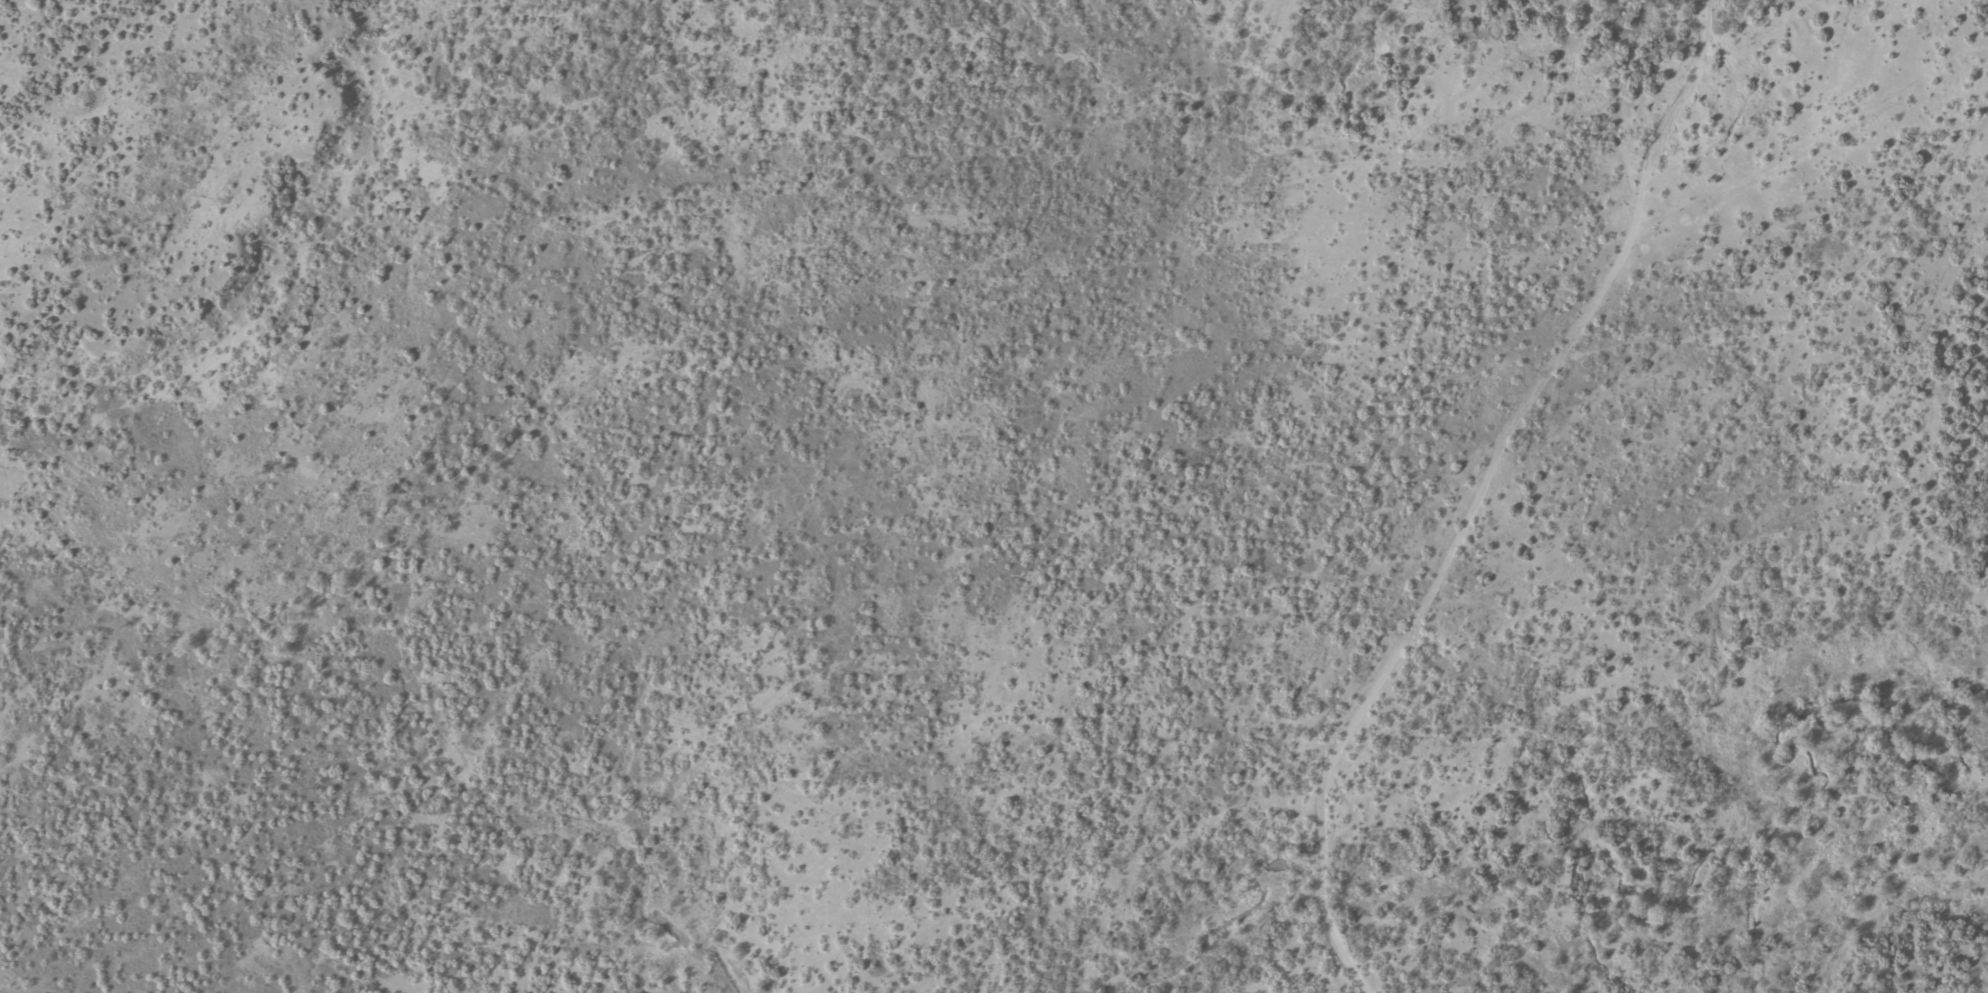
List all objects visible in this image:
road: (1437, 483)

